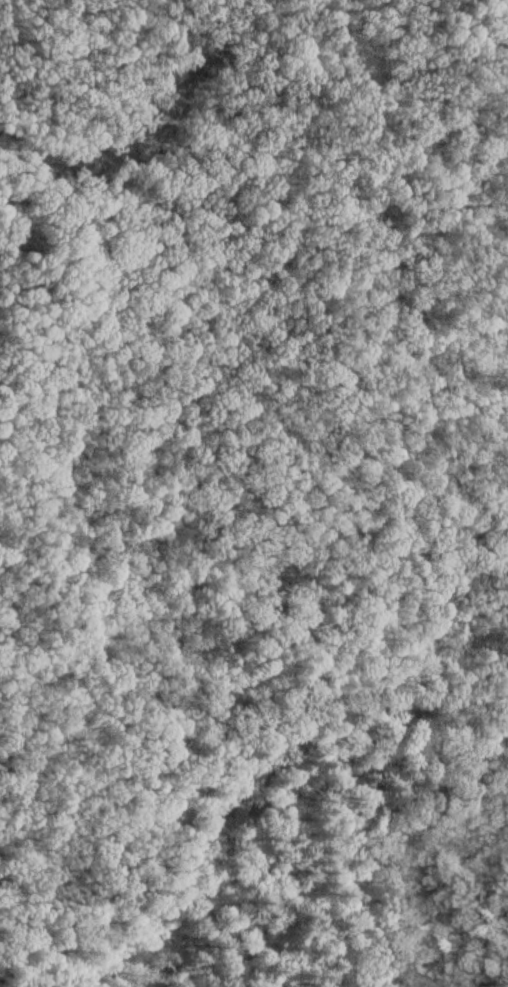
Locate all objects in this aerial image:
road: (136, 105)
road: (462, 537)

